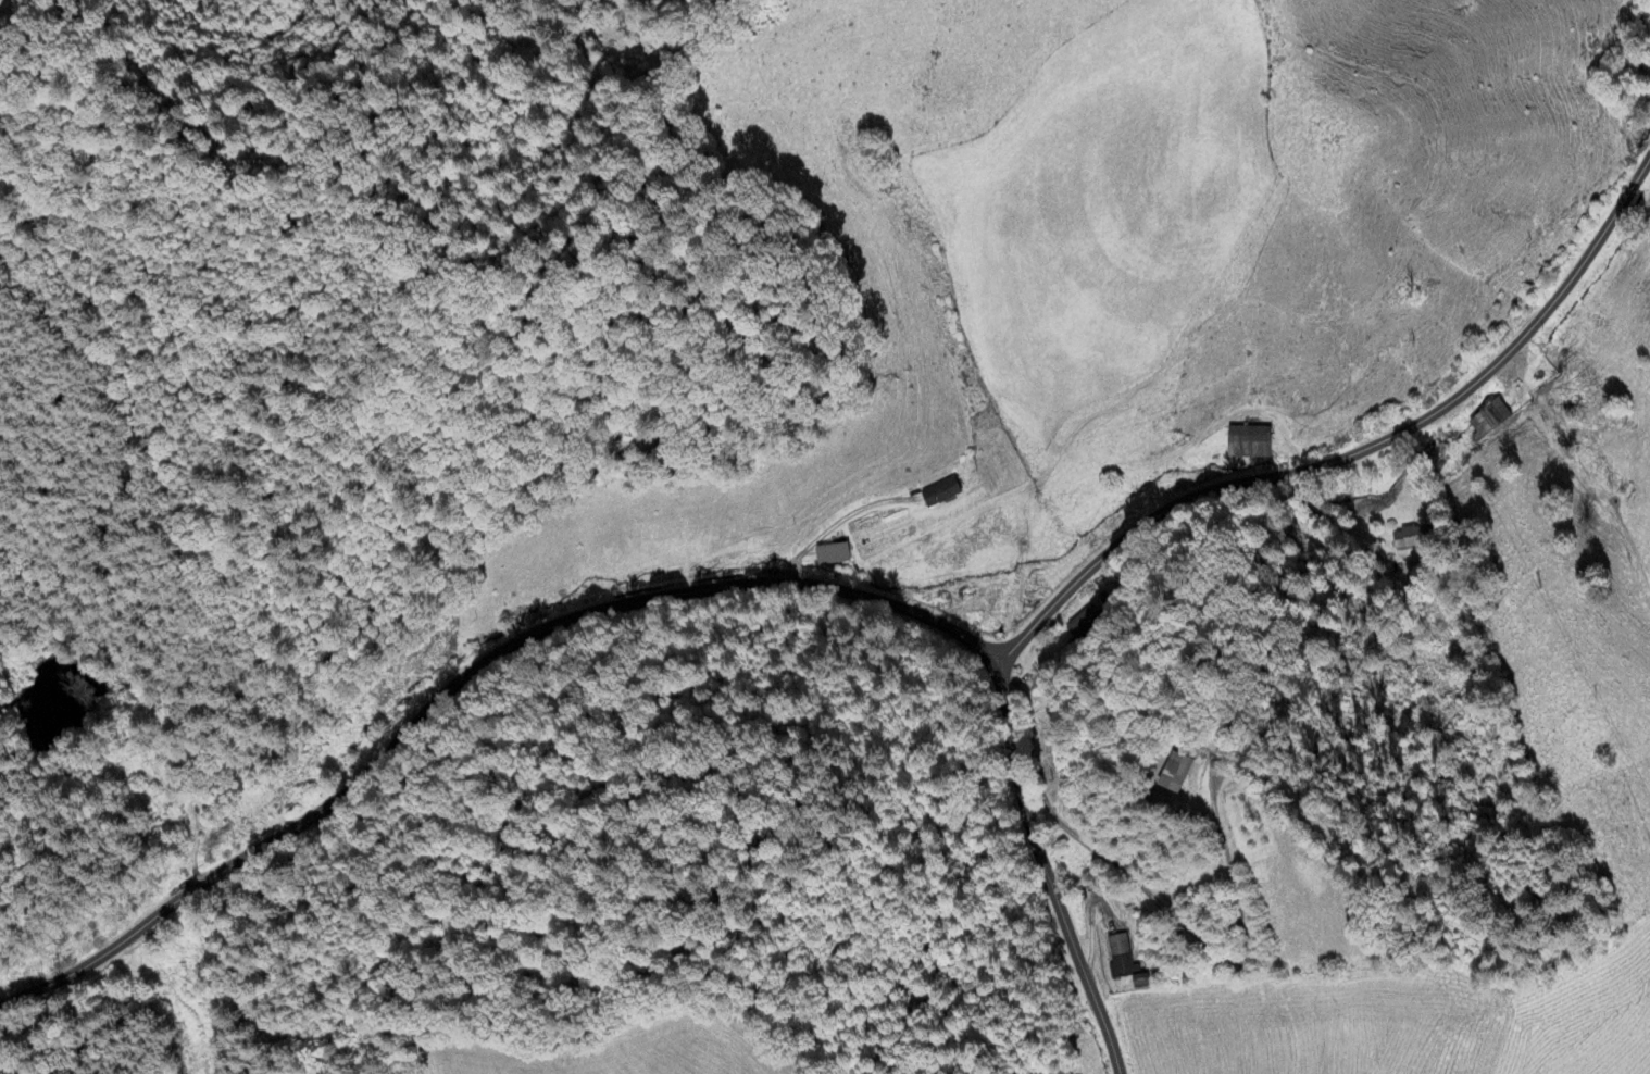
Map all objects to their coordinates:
building: (1487, 420)
building: (1248, 442)
building: (940, 492)
building: (1402, 540)
building: (830, 554)
road: (870, 598)
building: (1173, 774)
road: (1046, 869)
park: (1402, 934)
building: (1123, 958)

